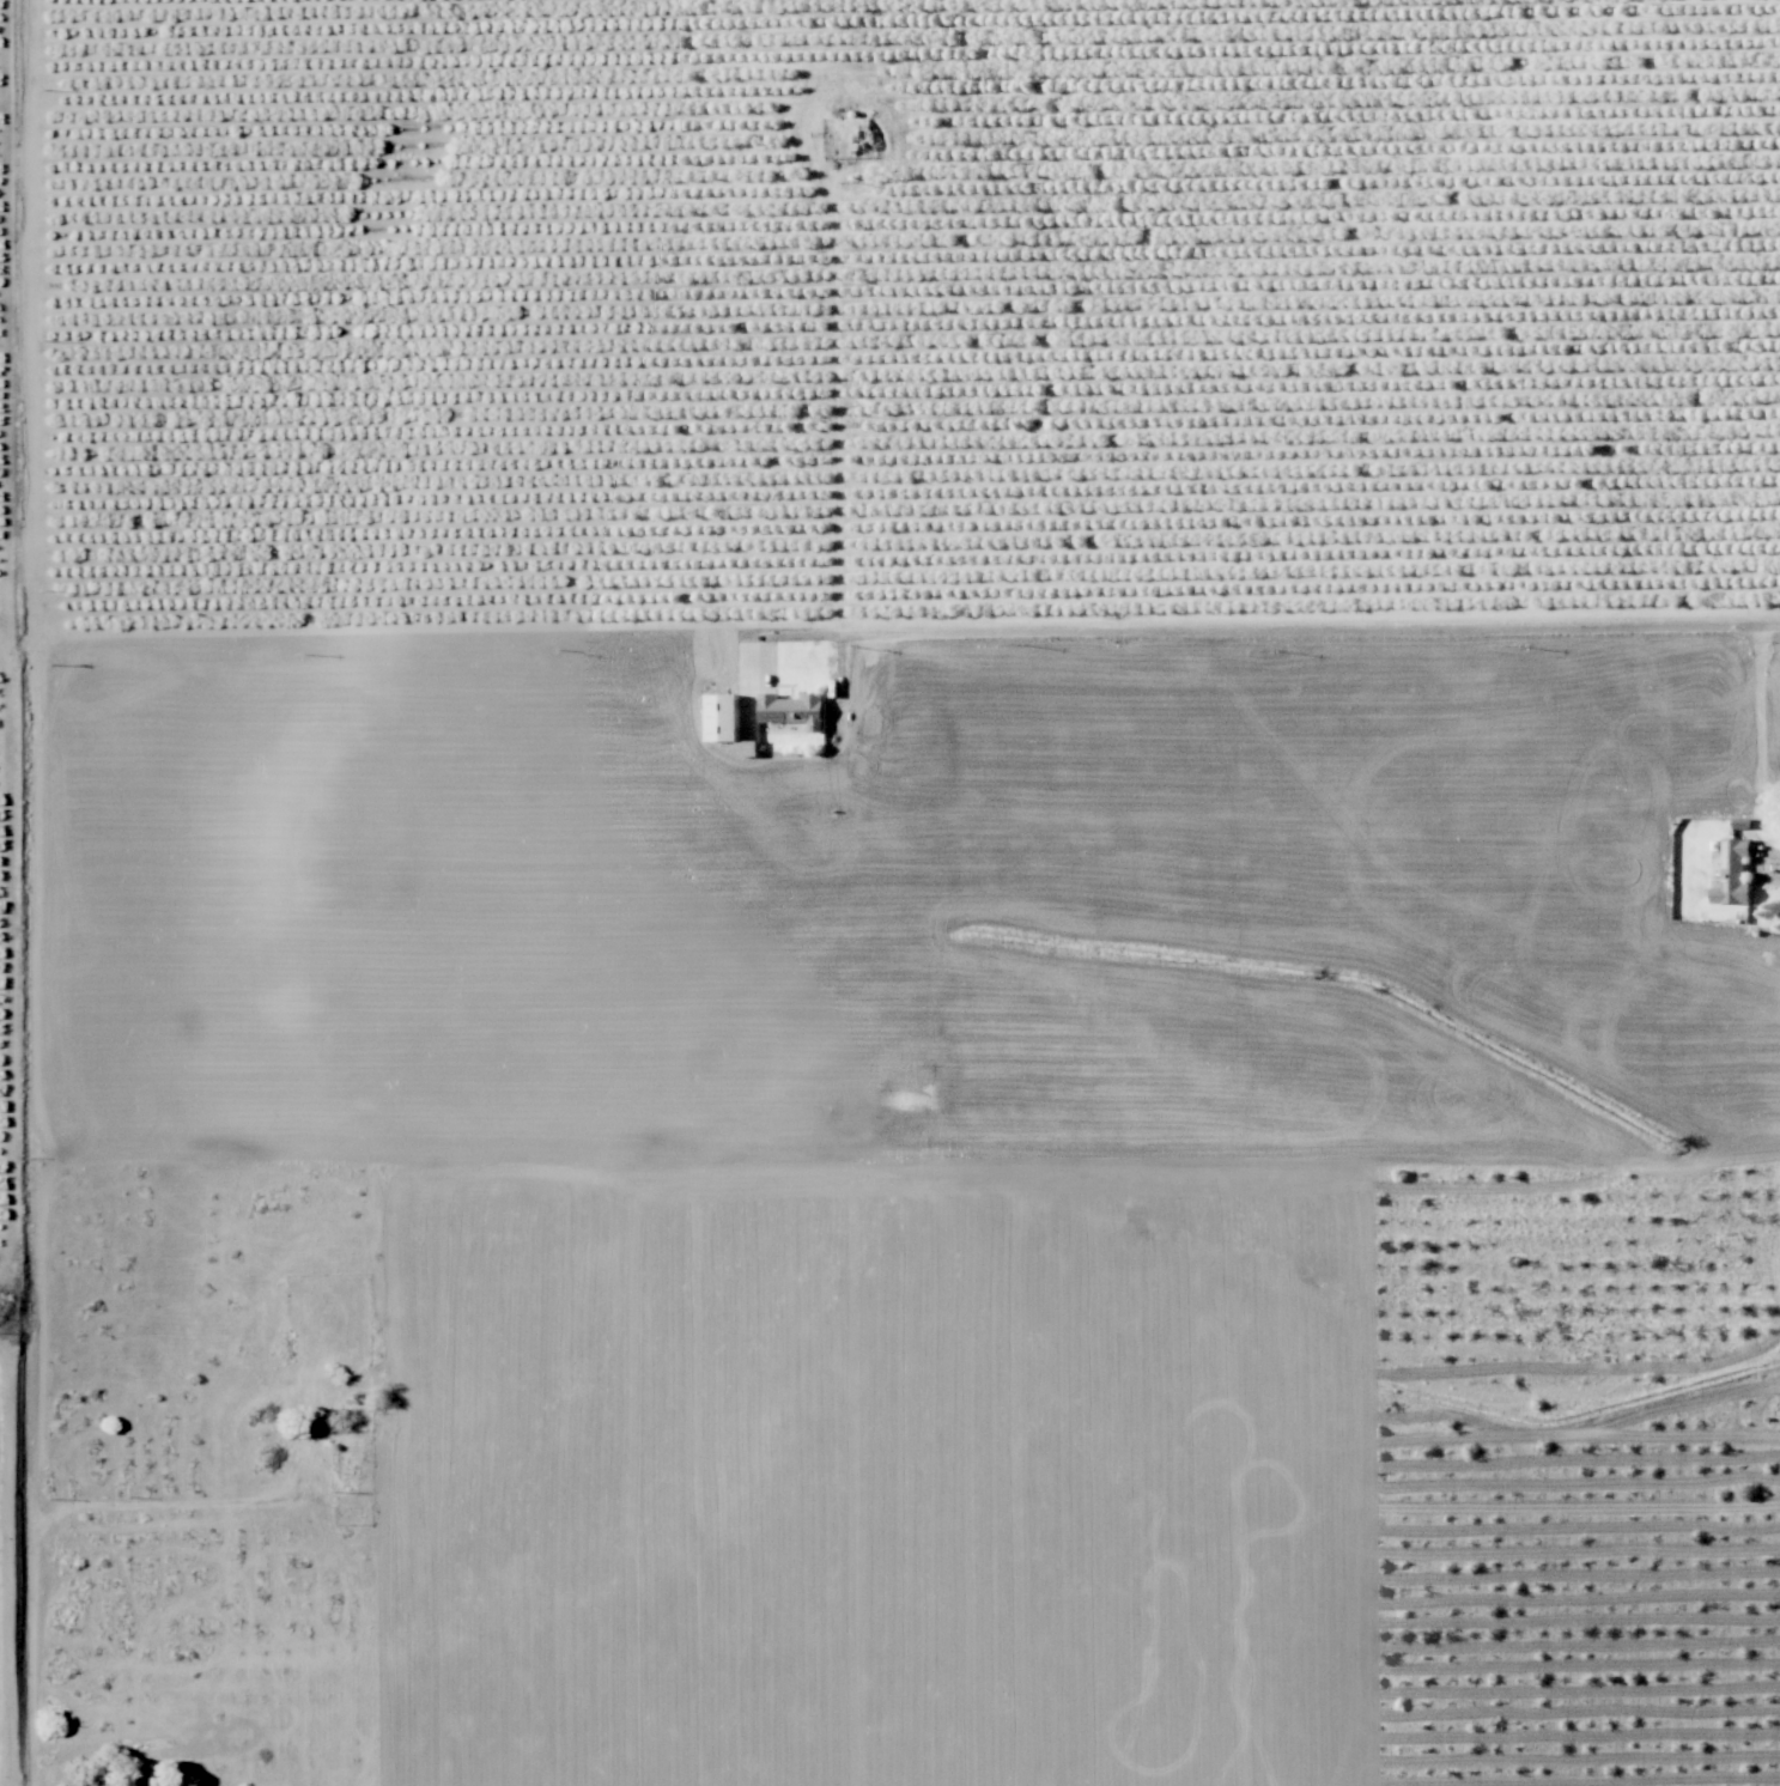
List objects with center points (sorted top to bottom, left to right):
road: (1256, 630)
building: (728, 723)
road: (1758, 863)
building: (1733, 874)
road: (24, 1221)
road: (157, 1503)

